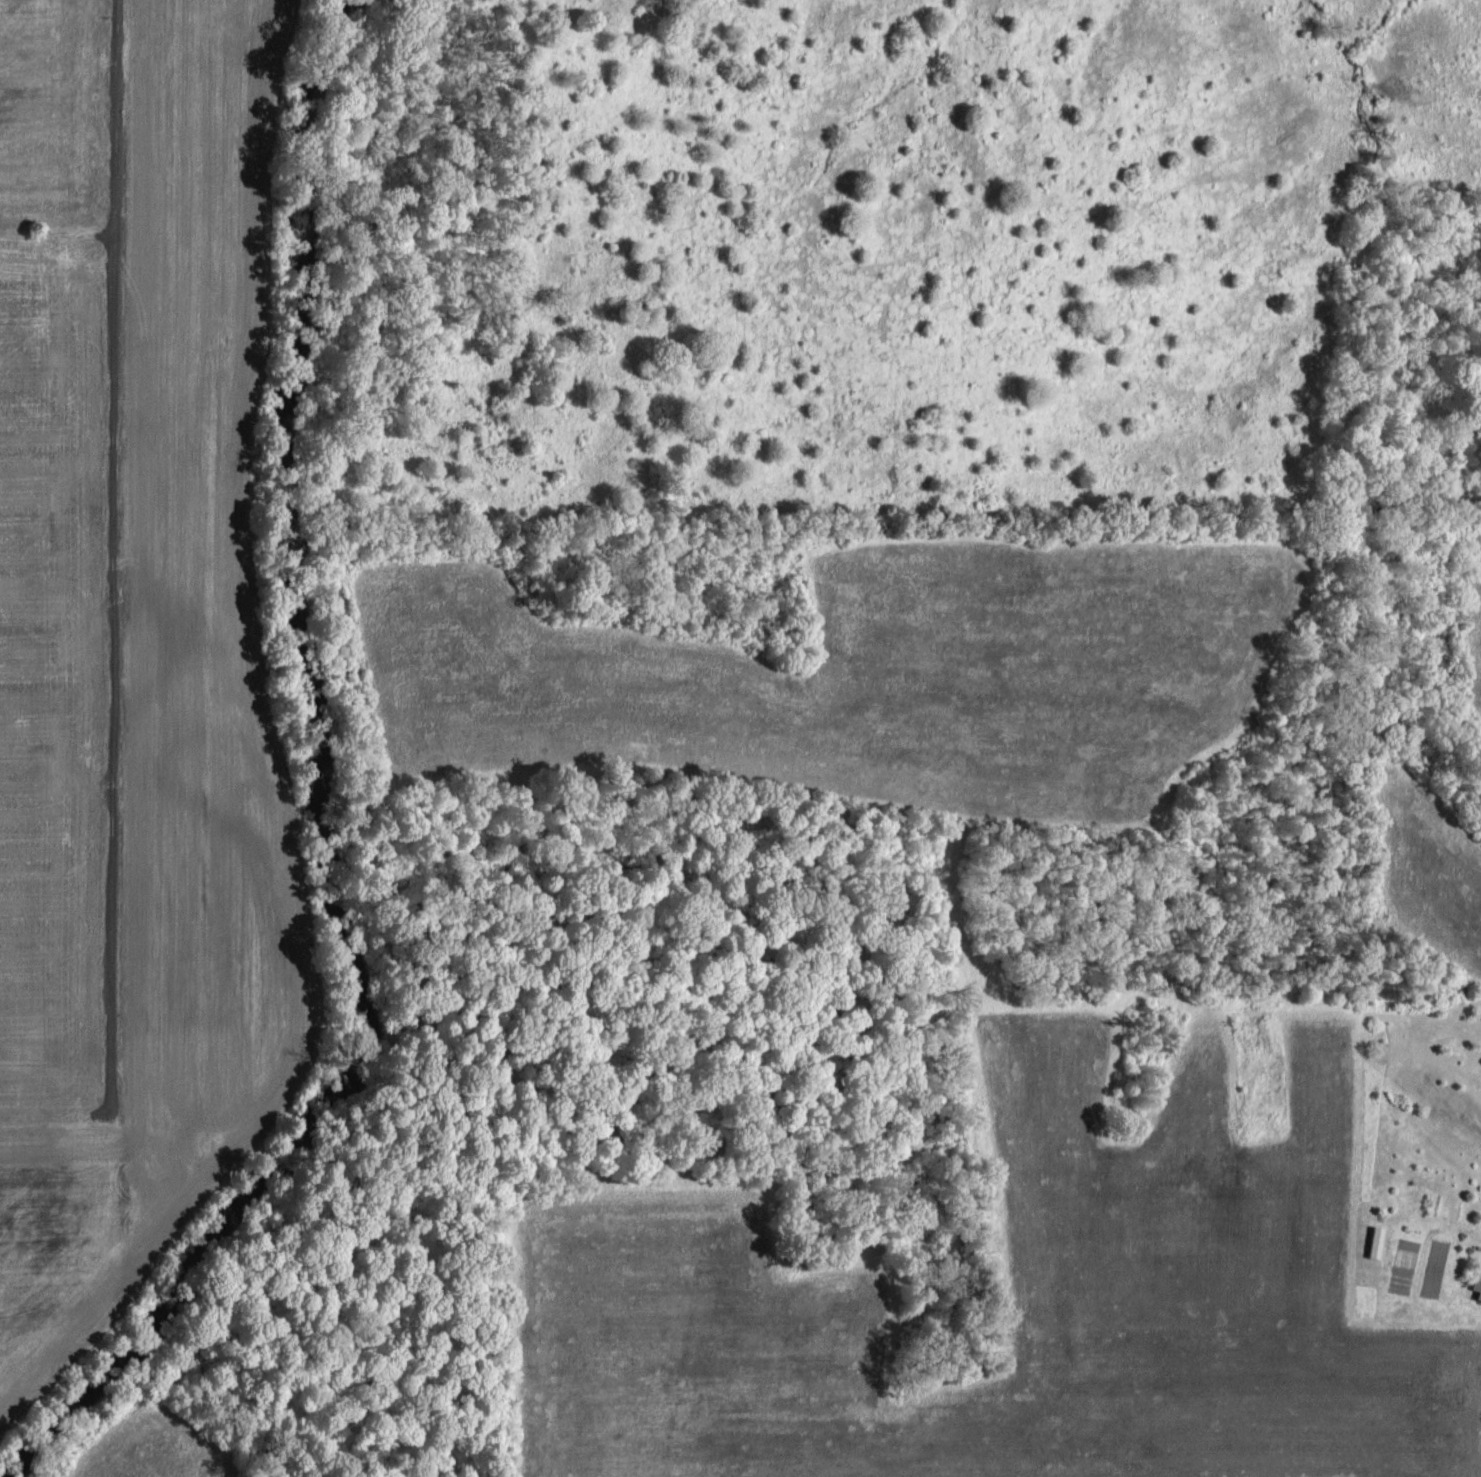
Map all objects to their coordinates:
building: (1371, 1239)
building: (1476, 1280)

